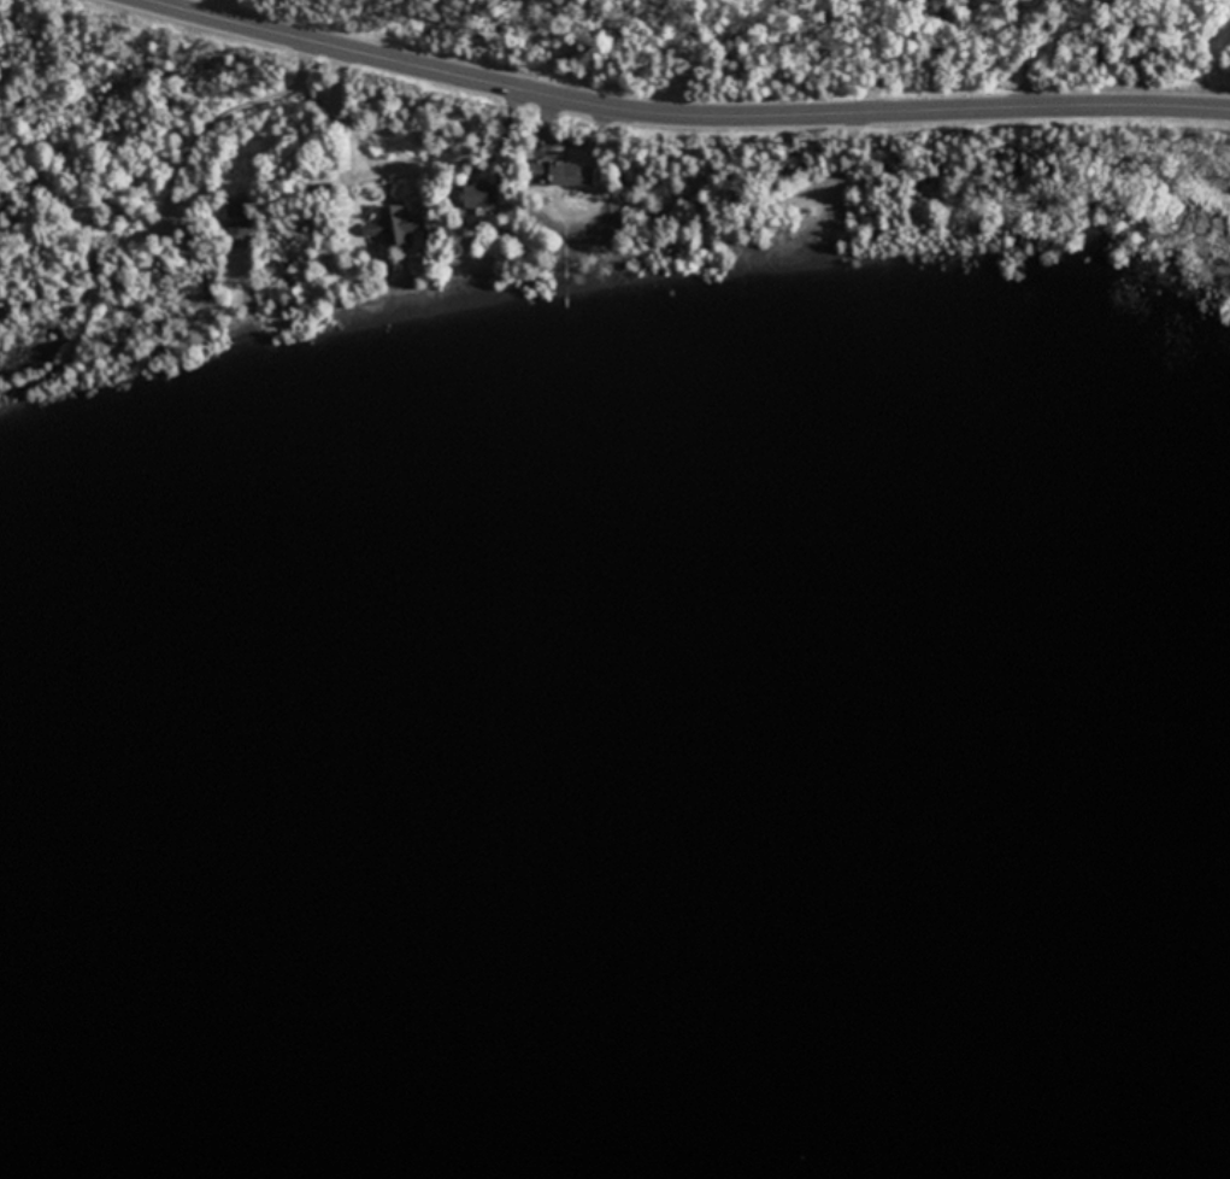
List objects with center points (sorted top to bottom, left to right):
road: (1014, 53)
road: (681, 119)
building: (555, 172)
building: (478, 194)
road: (180, 201)
building: (240, 213)
building: (398, 224)

